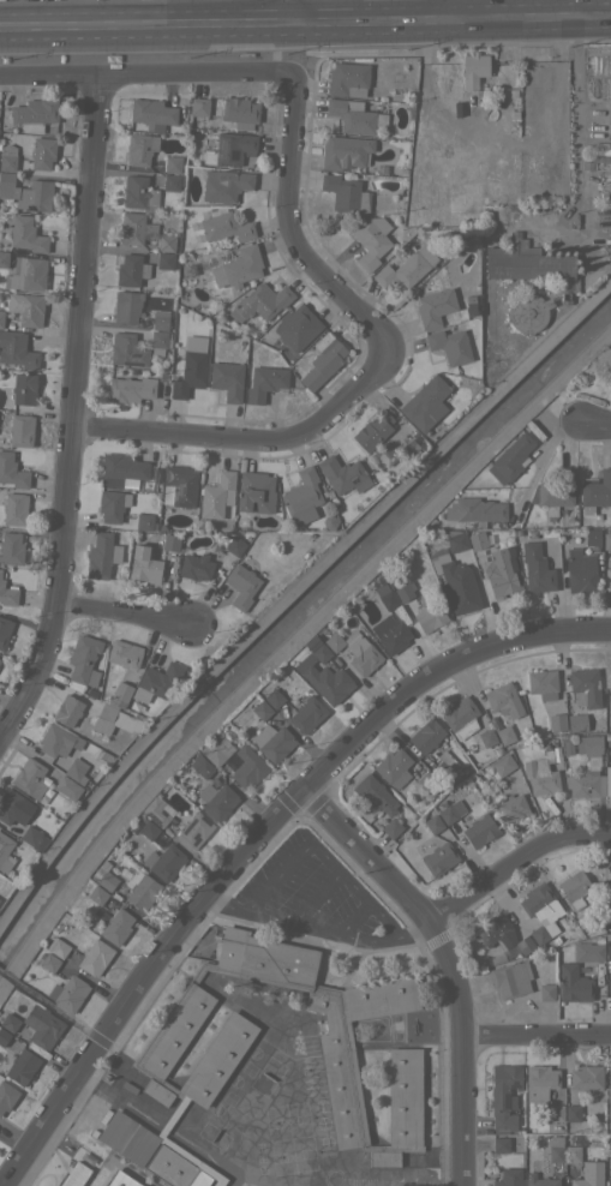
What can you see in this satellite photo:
road: (575, 0)
road: (439, 1)
road: (525, 1)
road: (342, 2)
road: (73, 6)
road: (220, 8)
road: (576, 13)
road: (293, 16)
road: (442, 16)
road: (593, 25)
road: (288, 34)
building: (473, 70)
road: (144, 74)
building: (347, 79)
building: (198, 106)
building: (240, 112)
building: (35, 114)
building: (151, 114)
building: (354, 115)
building: (609, 125)
building: (2, 127)
building: (140, 149)
building: (229, 149)
road: (576, 149)
building: (345, 151)
building: (42, 152)
building: (600, 152)
building: (7, 157)
building: (172, 163)
building: (401, 170)
building: (170, 181)
building: (224, 185)
building: (26, 192)
building: (139, 192)
building: (345, 193)
building: (455, 203)
building: (226, 227)
building: (136, 228)
road: (292, 230)
building: (26, 234)
building: (371, 240)
building: (166, 242)
building: (4, 258)
building: (164, 259)
building: (529, 263)
building: (238, 266)
building: (407, 268)
building: (131, 270)
building: (26, 274)
building: (259, 301)
building: (126, 305)
building: (435, 306)
building: (30, 310)
building: (527, 311)
building: (1, 313)
building: (160, 321)
building: (296, 327)
building: (268, 336)
building: (158, 342)
building: (450, 345)
building: (16, 349)
building: (126, 349)
building: (323, 360)
building: (178, 361)
building: (190, 369)
building: (162, 376)
building: (227, 379)
building: (264, 383)
building: (24, 389)
building: (131, 389)
building: (425, 403)
road: (76, 417)
road: (593, 429)
building: (20, 430)
building: (373, 430)
road: (252, 436)
building: (385, 454)
building: (510, 459)
building: (121, 468)
building: (12, 472)
building: (343, 474)
building: (156, 475)
road: (532, 478)
building: (179, 486)
building: (557, 491)
building: (595, 491)
building: (254, 492)
building: (217, 495)
building: (301, 496)
building: (109, 504)
building: (14, 509)
building: (475, 511)
building: (144, 521)
building: (241, 521)
building: (517, 531)
building: (532, 532)
building: (592, 537)
building: (456, 540)
building: (477, 540)
building: (606, 540)
building: (172, 543)
building: (234, 545)
building: (11, 549)
building: (102, 555)
building: (145, 563)
building: (194, 567)
building: (537, 568)
building: (0, 570)
building: (580, 570)
building: (502, 571)
building: (610, 574)
building: (456, 582)
building: (241, 585)
building: (405, 591)
building: (7, 594)
building: (388, 599)
road: (125, 611)
building: (430, 617)
building: (4, 630)
building: (390, 633)
building: (317, 648)
building: (355, 648)
building: (125, 653)
building: (83, 661)
road: (437, 671)
building: (610, 672)
building: (156, 681)
building: (328, 682)
building: (543, 683)
building: (585, 687)
building: (90, 693)
building: (120, 694)
building: (610, 696)
building: (274, 697)
building: (503, 700)
building: (262, 709)
building: (72, 713)
building: (307, 714)
building: (460, 717)
building: (116, 720)
building: (493, 720)
building: (556, 721)
building: (577, 721)
building: (426, 735)
building: (505, 735)
building: (607, 735)
building: (485, 737)
building: (54, 739)
building: (609, 741)
building: (272, 742)
building: (568, 744)
building: (589, 748)
building: (496, 749)
building: (216, 750)
building: (607, 751)
building: (556, 753)
building: (503, 763)
building: (58, 765)
building: (200, 766)
building: (247, 766)
building: (444, 766)
building: (393, 767)
building: (74, 771)
building: (421, 774)
building: (541, 774)
building: (29, 778)
building: (607, 780)
building: (586, 784)
building: (67, 787)
building: (375, 795)
building: (216, 799)
building: (13, 807)
building: (511, 807)
building: (157, 810)
building: (450, 810)
building: (433, 823)
building: (391, 827)
building: (148, 829)
building: (193, 829)
building: (479, 829)
building: (162, 835)
building: (34, 838)
building: (157, 840)
building: (5, 852)
building: (108, 852)
road: (324, 853)
building: (439, 858)
building: (164, 862)
road: (509, 862)
building: (103, 876)
building: (575, 887)
building: (140, 889)
building: (96, 894)
road: (316, 897)
road: (395, 900)
building: (540, 911)
building: (100, 912)
road: (353, 917)
building: (582, 920)
building: (85, 922)
building: (116, 926)
road: (312, 928)
building: (502, 934)
building: (56, 947)
building: (588, 951)
building: (607, 951)
building: (493, 953)
building: (95, 957)
building: (49, 962)
road: (6, 976)
building: (510, 978)
road: (145, 981)
building: (573, 983)
building: (609, 987)
building: (546, 992)
building: (67, 993)
road: (58, 1012)
building: (8, 1022)
building: (41, 1025)
road: (534, 1028)
building: (2, 1036)
building: (157, 1054)
building: (20, 1066)
building: (586, 1077)
building: (539, 1082)
building: (609, 1084)
building: (127, 1085)
building: (6, 1095)
building: (504, 1096)
road: (459, 1106)
building: (555, 1112)
building: (610, 1112)
building: (571, 1113)
building: (499, 1144)
building: (556, 1149)
building: (571, 1152)
building: (589, 1174)
building: (74, 1175)
road: (406, 1175)
building: (508, 1178)
building: (539, 1180)
building: (114, 1181)
building: (609, 1181)

